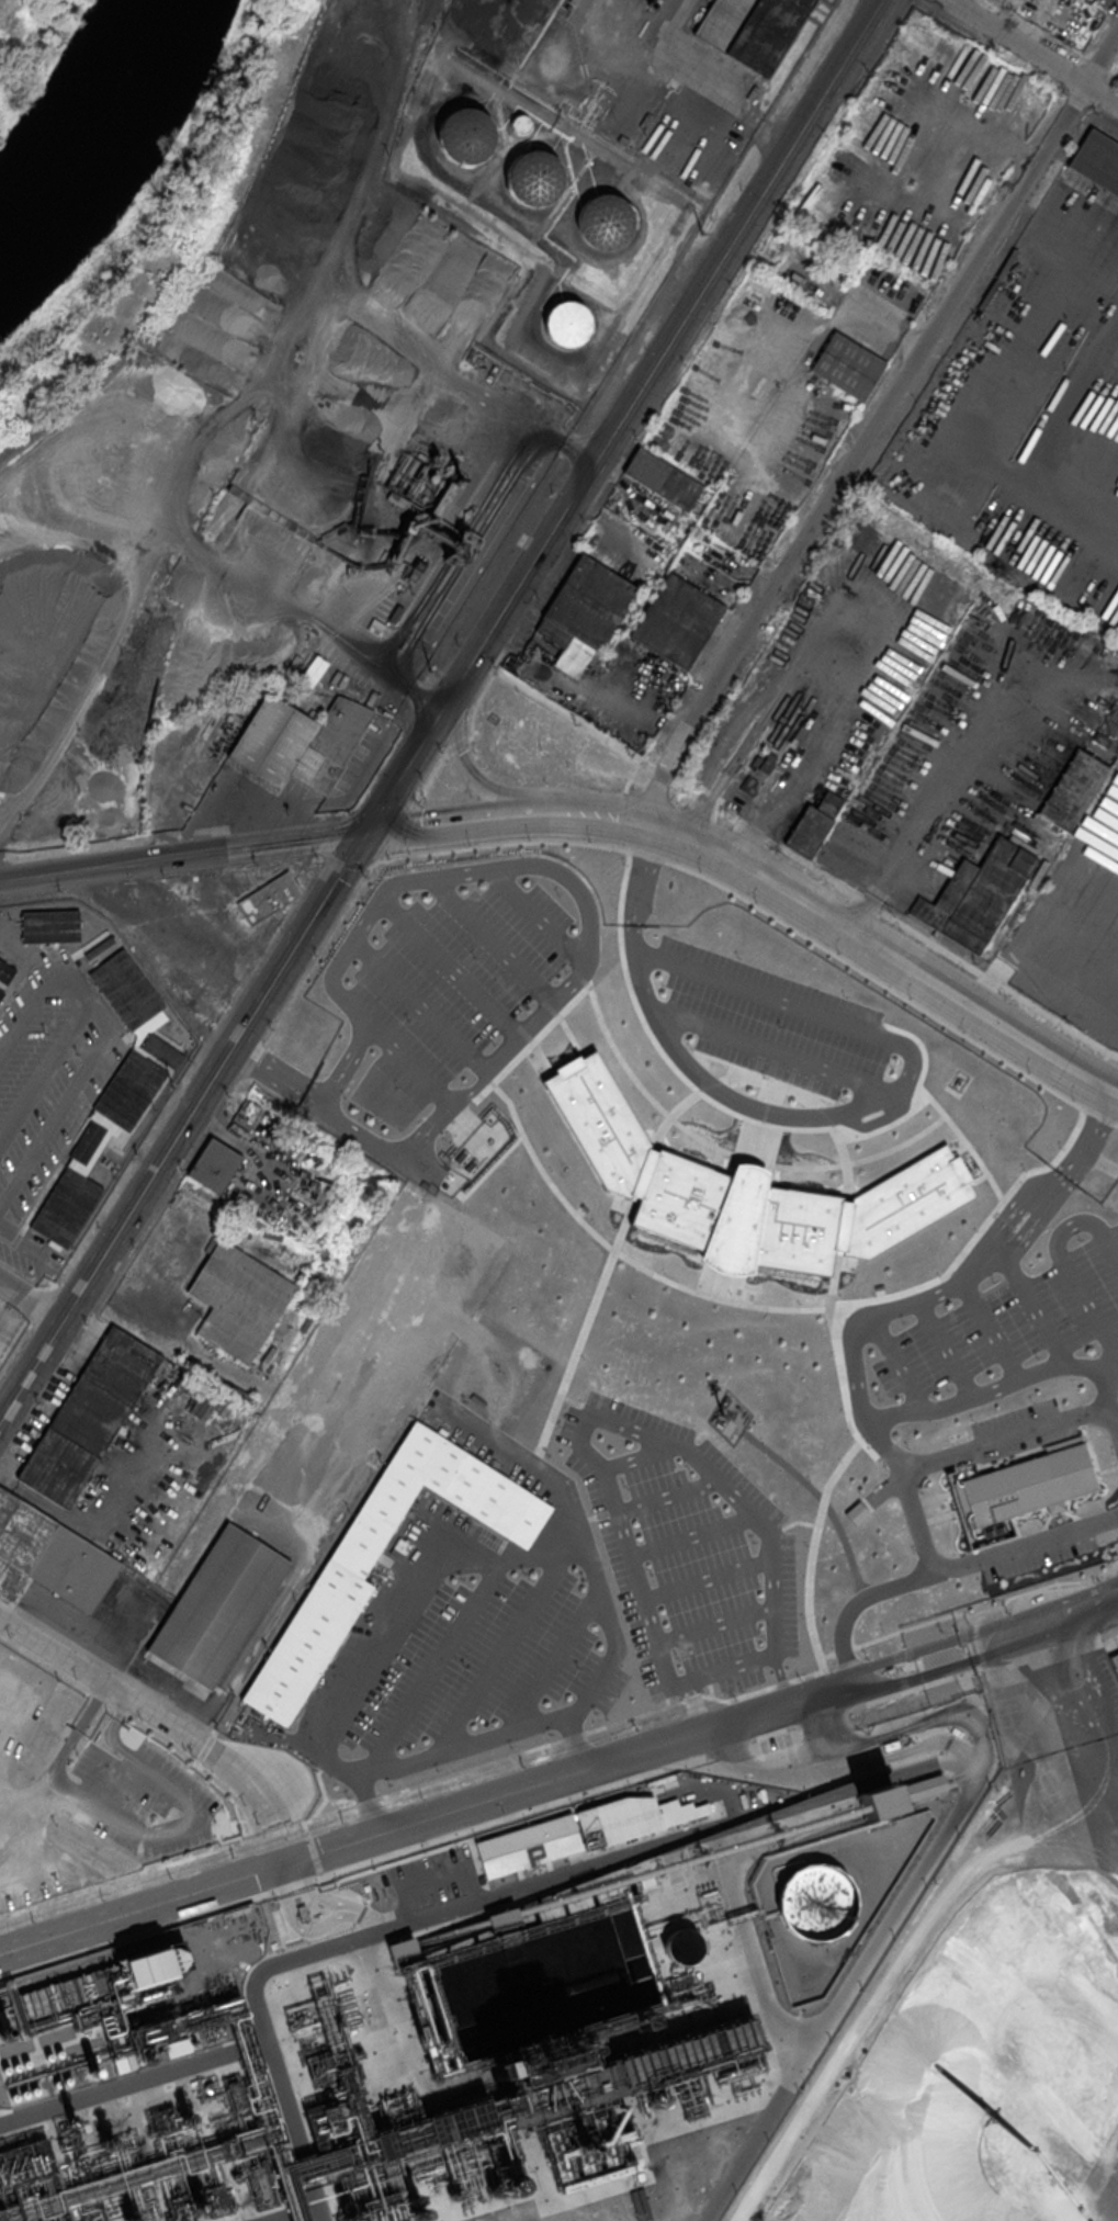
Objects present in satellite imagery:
building: (752, 29)
road: (1032, 53)
road: (701, 92)
building: (519, 123)
storage tank: (519, 123)
river: (95, 132)
building: (465, 135)
storage tank: (465, 135)
building: (1097, 160)
building: (534, 178)
storage tank: (534, 178)
building: (605, 221)
storage tank: (605, 221)
power tower: (700, 230)
park: (140, 244)
building: (1006, 264)
building: (986, 294)
building: (566, 324)
storage tank: (566, 324)
building: (847, 365)
road: (624, 416)
road: (874, 424)
building: (663, 478)
building: (449, 491)
building: (459, 549)
building: (415, 570)
building: (591, 600)
building: (395, 613)
building: (676, 620)
building: (553, 631)
power tower: (430, 669)
road: (812, 687)
road: (569, 718)
building: (1108, 731)
building: (297, 741)
building: (755, 762)
building: (768, 763)
road: (466, 768)
road: (658, 773)
building: (748, 786)
building: (1070, 789)
road: (591, 813)
road: (449, 821)
building: (813, 823)
road: (922, 825)
building: (1042, 826)
traffic signals: (365, 832)
road: (276, 843)
road: (94, 868)
building: (978, 895)
building: (269, 897)
road: (585, 906)
road: (538, 916)
road: (895, 922)
building: (50, 925)
road: (492, 942)
road: (887, 952)
road: (451, 969)
building: (5, 973)
building: (124, 988)
road: (345, 1002)
road: (419, 1006)
road: (99, 1048)
road: (772, 1052)
road: (348, 1060)
road: (274, 1079)
road: (345, 1080)
power tower: (170, 1087)
road: (471, 1087)
road: (324, 1101)
road: (827, 1116)
road: (431, 1119)
road: (182, 1126)
road: (440, 1129)
building: (105, 1134)
road: (366, 1137)
building: (213, 1164)
building: (744, 1192)
road: (31, 1298)
building: (237, 1299)
road: (1034, 1306)
road: (900, 1309)
building: (5, 1316)
road: (1017, 1380)
building: (89, 1416)
road: (1003, 1441)
building: (1029, 1484)
building: (349, 1562)
road: (465, 1563)
road: (942, 1570)
building: (230, 1589)
road: (1043, 1623)
building: (1113, 1661)
road: (150, 1714)
road: (461, 1748)
building: (895, 1794)
road: (483, 1799)
building: (576, 1831)
road: (286, 1844)
traffic signals: (291, 1859)
building: (817, 1901)
storage tank: (817, 1901)
building: (502, 1919)
building: (679, 1947)
storage tank: (679, 1947)
building: (402, 1948)
building: (89, 1985)
building: (25, 2163)
building: (589, 2172)

